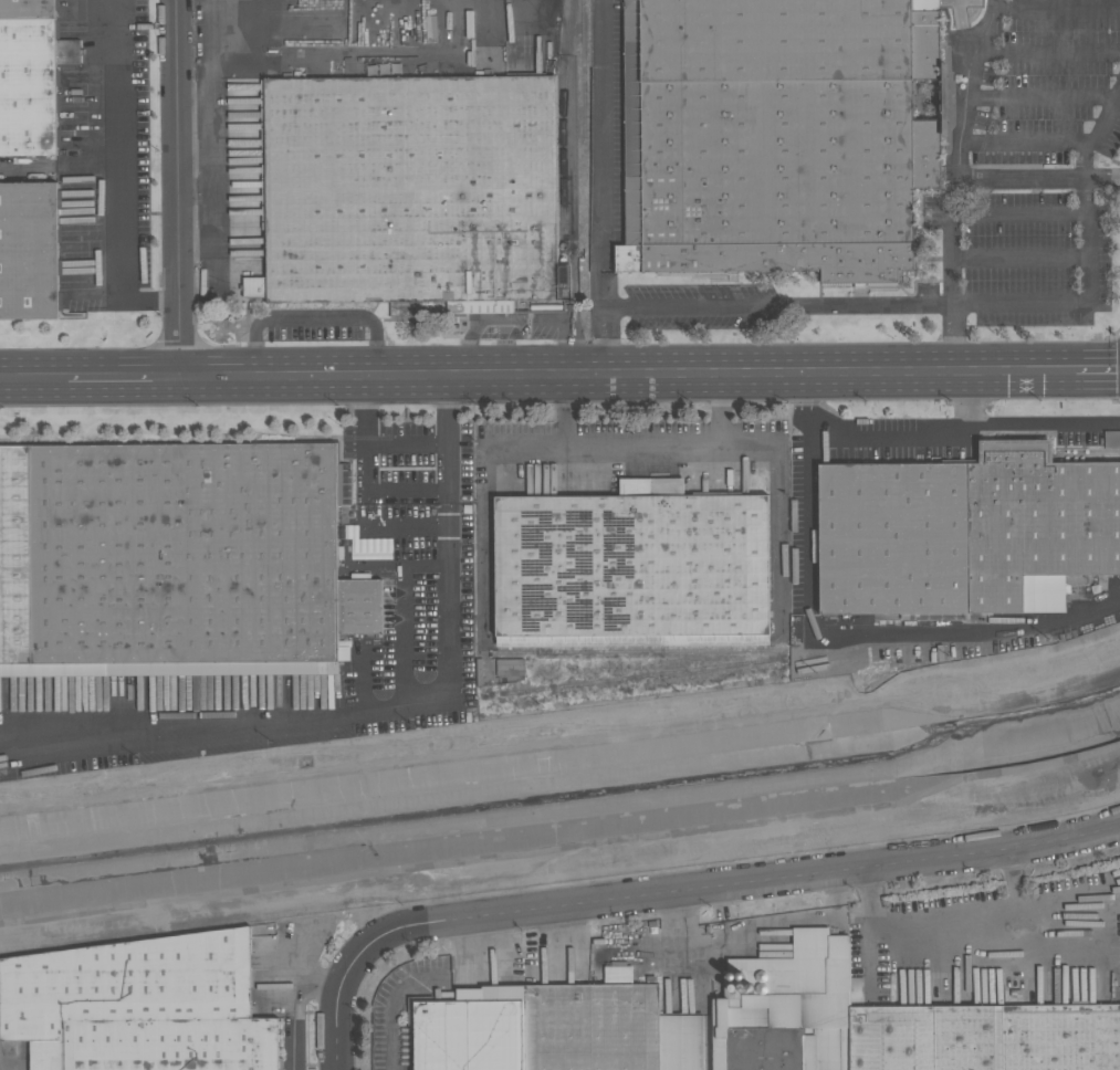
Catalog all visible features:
parking lot: (961, 3)
road: (1057, 9)
road: (964, 31)
road: (1047, 54)
railway: (583, 69)
building: (31, 75)
road: (966, 87)
road: (1040, 97)
railway: (562, 114)
road: (1099, 134)
building: (778, 135)
road: (1027, 141)
road: (193, 144)
road: (212, 160)
parking lot: (1030, 165)
road: (1038, 180)
road: (111, 182)
road: (606, 186)
road: (176, 187)
building: (411, 191)
road: (1018, 214)
road: (195, 233)
road: (952, 242)
building: (30, 250)
road: (1019, 258)
building: (242, 295)
road: (1082, 303)
road: (814, 305)
road: (314, 318)
road: (517, 321)
road: (1097, 369)
road: (626, 373)
road: (123, 375)
road: (33, 376)
road: (1046, 423)
building: (1111, 439)
road: (407, 441)
road: (896, 442)
road: (523, 444)
road: (641, 448)
road: (367, 471)
road: (777, 508)
building: (1037, 520)
road: (405, 525)
road: (808, 531)
building: (894, 538)
building: (176, 562)
building: (631, 563)
parking lot: (411, 577)
railway: (1081, 591)
road: (402, 611)
railway: (938, 626)
railway: (662, 651)
building: (296, 693)
road: (387, 707)
road: (753, 880)
road: (951, 935)
road: (1068, 948)
road: (419, 980)
road: (341, 995)
road: (302, 998)
building: (795, 998)
building: (139, 1006)
building: (607, 1029)
building: (469, 1034)
building: (985, 1037)
road: (297, 1056)

